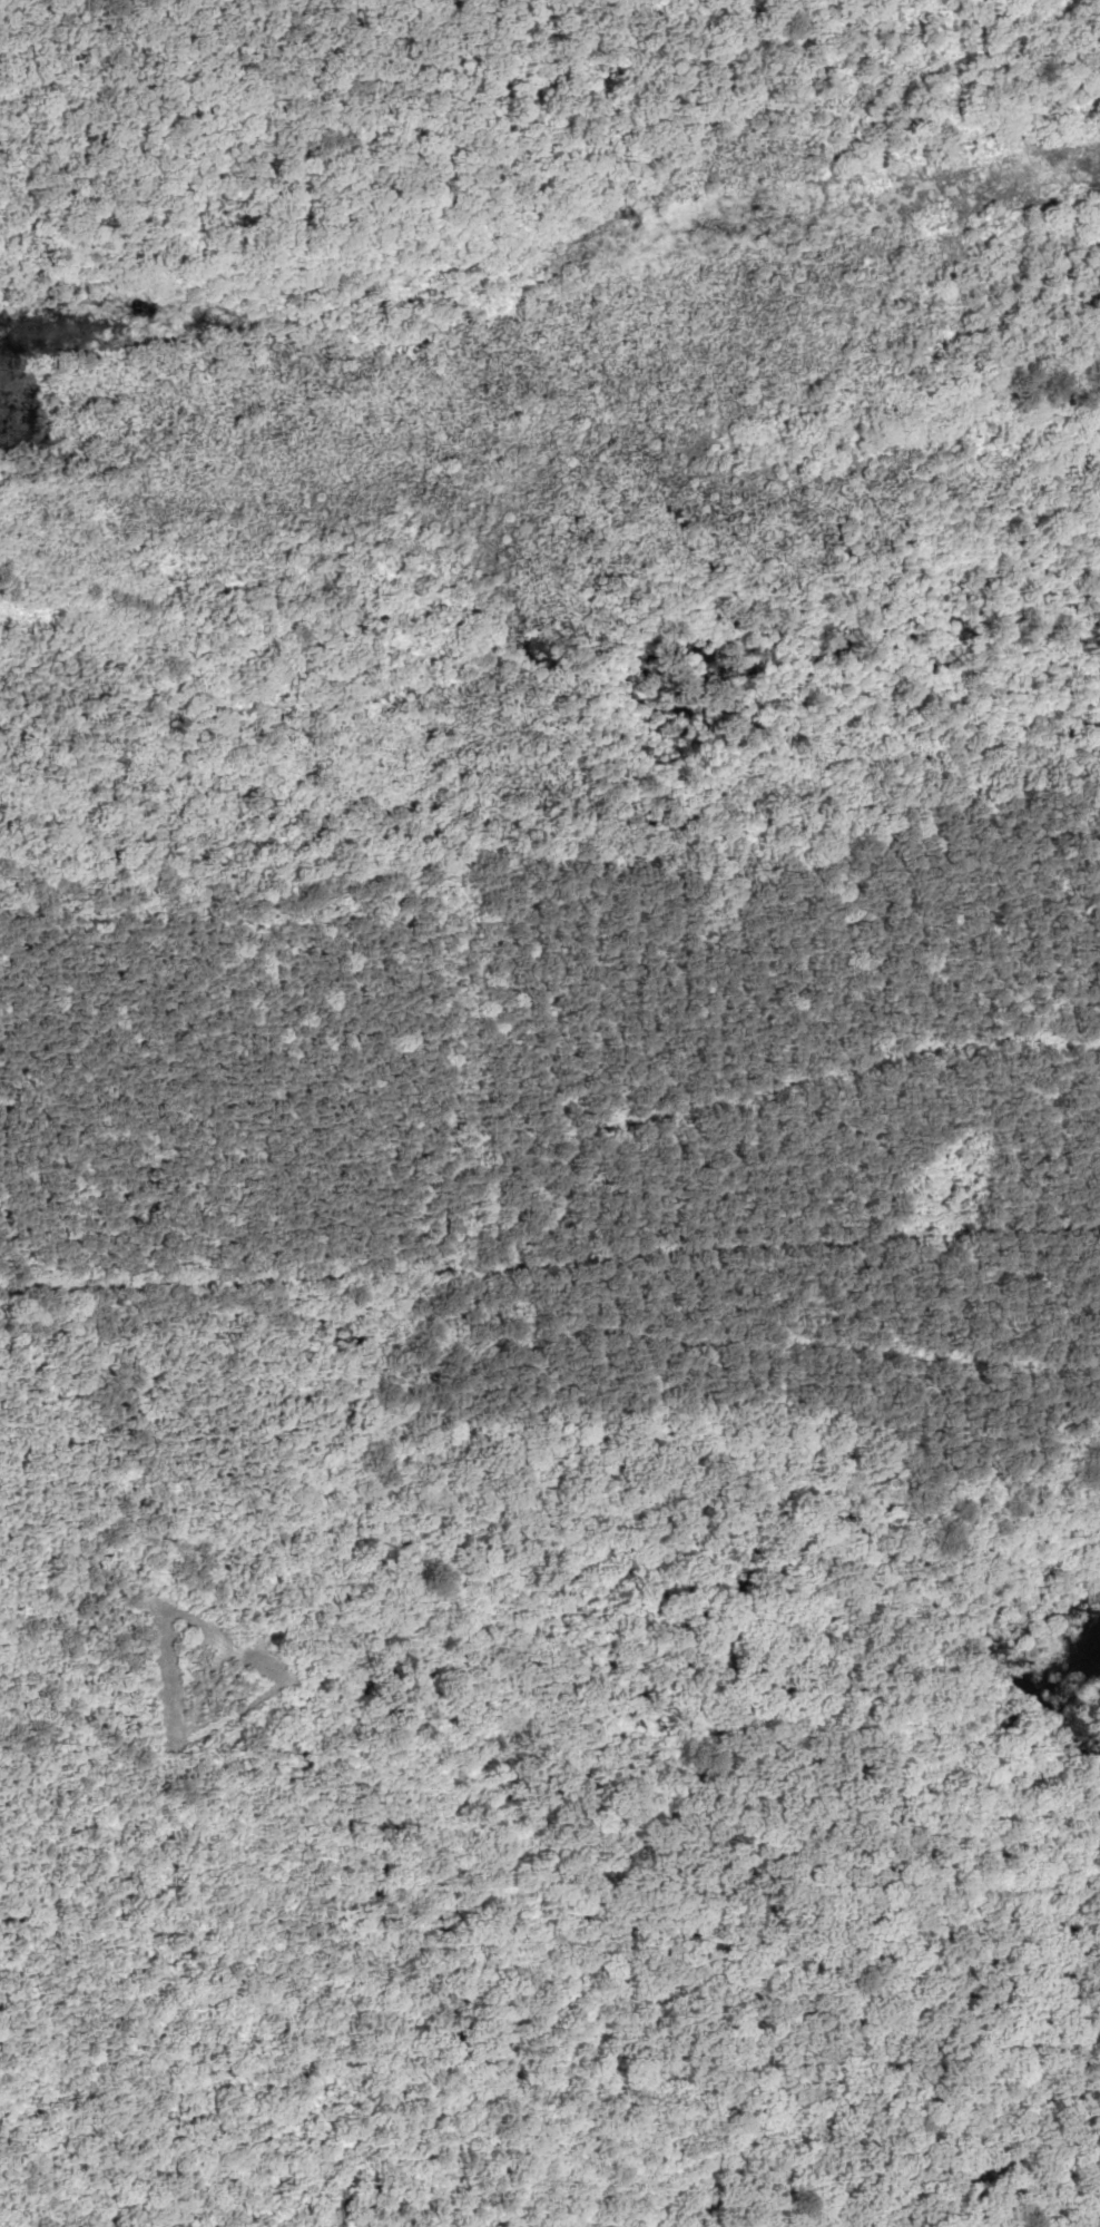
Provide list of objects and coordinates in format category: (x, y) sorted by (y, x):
road: (550, 1248)

